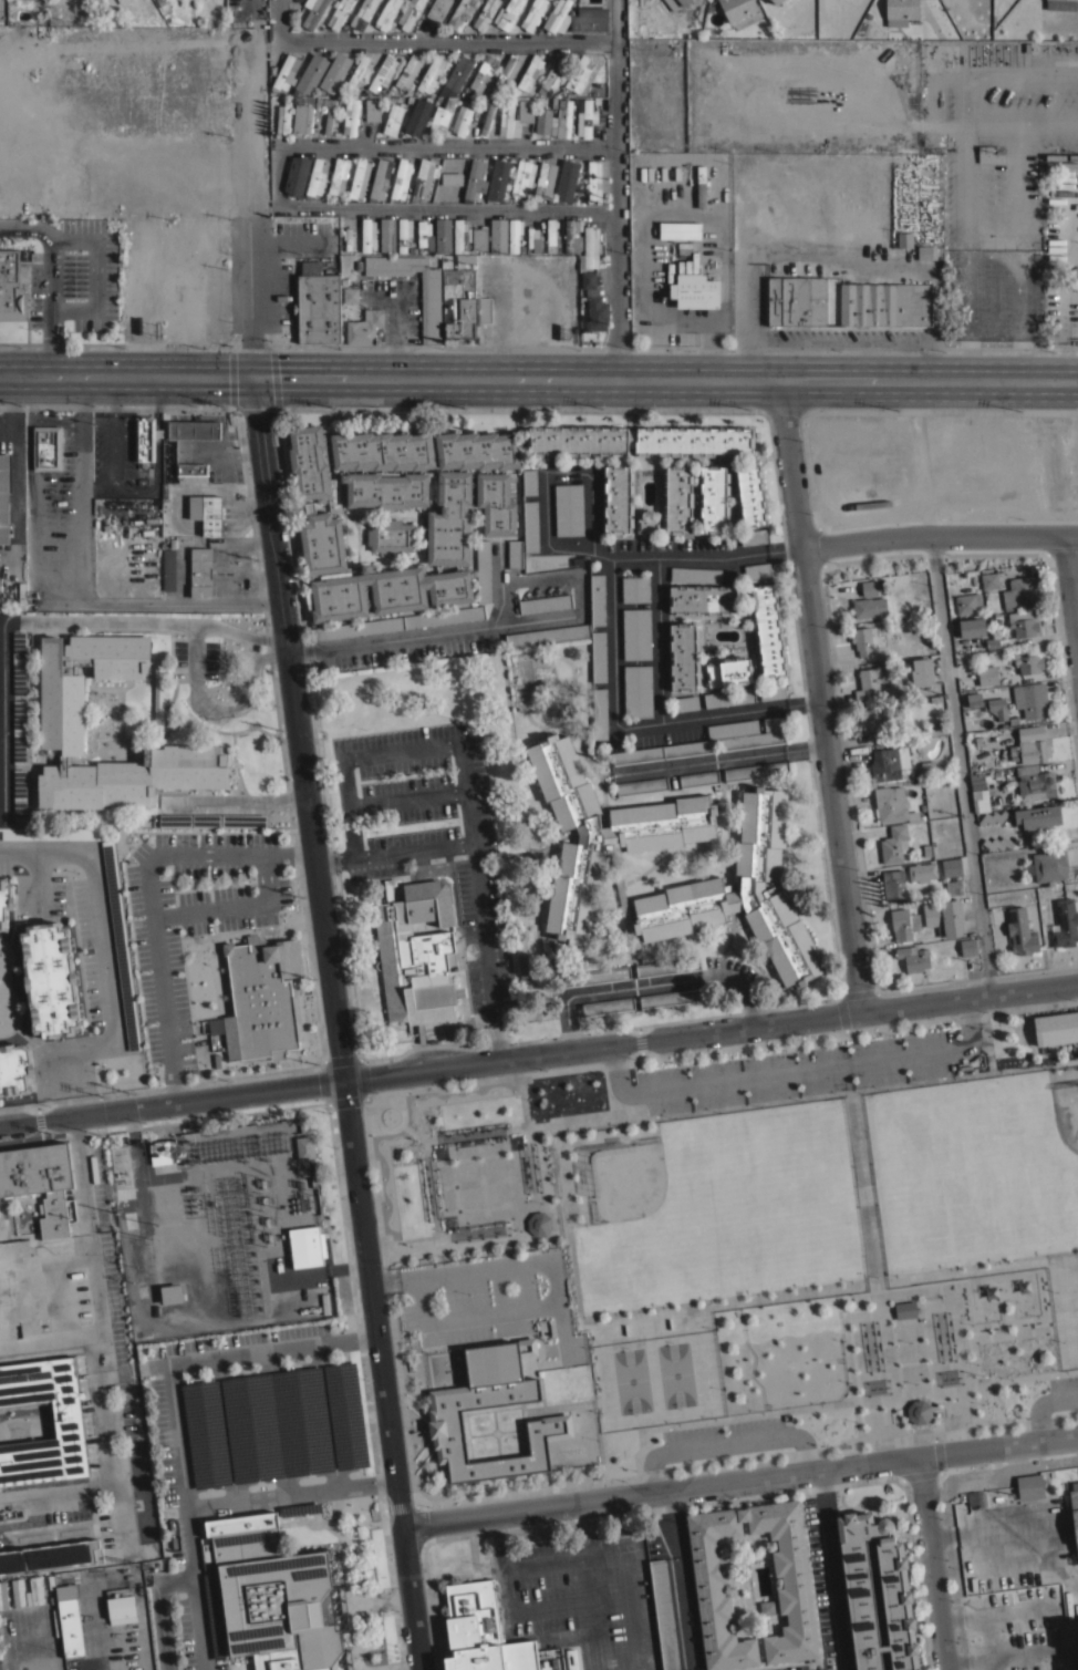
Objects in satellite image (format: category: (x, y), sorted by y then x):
building: (122, 1)
building: (776, 1)
building: (779, 1)
building: (158, 2)
building: (676, 3)
building: (1061, 4)
building: (189, 6)
building: (737, 8)
building: (437, 9)
building: (901, 9)
building: (313, 12)
building: (339, 12)
building: (189, 13)
building: (408, 13)
building: (458, 13)
building: (507, 13)
building: (362, 14)
building: (386, 14)
building: (485, 14)
building: (532, 14)
building: (576, 18)
building: (166, 19)
building: (179, 22)
building: (189, 22)
road: (428, 42)
building: (271, 70)
building: (407, 70)
building: (506, 70)
building: (334, 71)
building: (308, 72)
building: (357, 72)
building: (383, 72)
building: (483, 72)
building: (529, 72)
building: (284, 73)
building: (429, 73)
building: (457, 74)
building: (553, 74)
building: (580, 74)
building: (491, 87)
building: (338, 92)
building: (354, 92)
building: (387, 92)
building: (498, 92)
building: (382, 93)
building: (484, 93)
building: (383, 97)
building: (464, 100)
building: (595, 100)
building: (546, 103)
building: (372, 110)
building: (329, 114)
building: (302, 116)
building: (350, 116)
building: (416, 116)
building: (487, 116)
building: (283, 117)
building: (440, 117)
building: (525, 117)
building: (585, 117)
building: (392, 118)
building: (462, 118)
building: (562, 118)
building: (541, 121)
building: (988, 154)
building: (296, 173)
building: (338, 175)
building: (317, 176)
building: (522, 177)
road: (278, 178)
building: (357, 178)
building: (379, 178)
building: (400, 178)
building: (422, 178)
building: (450, 178)
building: (474, 179)
building: (497, 179)
building: (543, 179)
building: (564, 179)
building: (593, 179)
building: (701, 186)
road: (618, 188)
road: (248, 206)
building: (403, 233)
building: (423, 234)
building: (514, 234)
building: (367, 235)
building: (386, 235)
building: (443, 235)
building: (550, 235)
building: (459, 236)
building: (497, 236)
building: (531, 236)
building: (570, 236)
building: (478, 239)
building: (904, 239)
building: (589, 249)
building: (412, 250)
building: (528, 251)
building: (926, 251)
road: (994, 255)
parking lot: (74, 278)
building: (11, 286)
building: (694, 290)
building: (350, 295)
building: (459, 298)
building: (796, 300)
building: (582, 302)
building: (593, 302)
building: (318, 303)
building: (884, 305)
building: (431, 309)
building: (485, 309)
building: (364, 327)
road: (115, 343)
road: (270, 343)
road: (674, 347)
road: (125, 375)
traffic signals: (252, 375)
road: (515, 375)
road: (929, 377)
road: (518, 405)
road: (785, 408)
road: (942, 409)
building: (193, 430)
building: (143, 440)
building: (639, 440)
building: (46, 447)
building: (189, 471)
building: (529, 481)
road: (102, 486)
road: (136, 489)
building: (4, 495)
building: (749, 495)
building: (616, 498)
building: (676, 498)
building: (713, 498)
road: (248, 506)
building: (568, 508)
building: (210, 514)
building: (645, 524)
building: (530, 526)
building: (320, 529)
road: (594, 532)
road: (939, 535)
building: (391, 536)
building: (752, 536)
building: (514, 553)
building: (168, 569)
building: (483, 570)
building: (756, 570)
building: (200, 571)
building: (694, 574)
building: (988, 579)
road: (55, 585)
road: (1071, 586)
building: (868, 587)
building: (634, 589)
building: (1018, 592)
building: (21, 595)
building: (597, 599)
building: (702, 599)
building: (541, 602)
building: (967, 602)
building: (868, 607)
building: (397, 622)
building: (1024, 622)
road: (4, 623)
building: (971, 627)
building: (767, 630)
building: (636, 633)
road: (431, 635)
building: (547, 635)
building: (862, 640)
building: (598, 656)
building: (683, 656)
building: (19, 662)
building: (1027, 663)
road: (193, 667)
building: (728, 671)
building: (921, 671)
building: (987, 674)
building: (870, 680)
building: (638, 690)
building: (771, 691)
road: (818, 694)
building: (728, 697)
building: (973, 699)
building: (1029, 699)
building: (684, 703)
building: (997, 708)
building: (62, 711)
building: (599, 712)
building: (874, 721)
road: (297, 728)
building: (19, 731)
road: (633, 731)
building: (932, 731)
building: (749, 732)
building: (1029, 745)
road: (402, 750)
building: (662, 752)
road: (721, 761)
building: (888, 763)
road: (961, 764)
building: (927, 769)
building: (756, 771)
building: (698, 779)
building: (976, 780)
building: (1035, 783)
building: (641, 785)
building: (19, 794)
road: (405, 796)
building: (891, 804)
building: (1037, 816)
building: (992, 817)
building: (211, 819)
building: (50, 833)
building: (602, 837)
building: (997, 843)
building: (893, 844)
road: (325, 858)
road: (475, 862)
building: (1049, 865)
building: (951, 866)
building: (921, 872)
building: (893, 884)
building: (953, 887)
building: (742, 894)
road: (148, 898)
building: (6, 901)
road: (231, 904)
building: (944, 917)
building: (903, 922)
building: (1064, 924)
building: (1019, 931)
building: (121, 945)
building: (967, 947)
road: (103, 950)
building: (913, 957)
building: (666, 966)
building: (414, 968)
building: (524, 970)
building: (590, 977)
building: (50, 980)
road: (612, 988)
road: (744, 990)
road: (967, 996)
building: (261, 998)
building: (671, 998)
building: (608, 1007)
building: (1056, 1028)
road: (498, 1041)
road: (601, 1047)
building: (14, 1069)
road: (796, 1070)
parking lot: (792, 1071)
road: (172, 1104)
road: (70, 1105)
park: (1065, 1116)
building: (304, 1147)
building: (159, 1152)
building: (122, 1173)
building: (40, 1181)
park: (625, 1182)
road: (864, 1193)
building: (0, 1212)
building: (129, 1219)
power substation: (228, 1221)
building: (538, 1224)
park: (776, 1226)
building: (307, 1246)
road: (510, 1266)
building: (20, 1289)
building: (170, 1293)
road: (903, 1293)
road: (729, 1301)
building: (904, 1310)
road: (1030, 1312)
road: (470, 1313)
road: (1007, 1315)
road: (1020, 1326)
road: (99, 1327)
road: (50, 1340)
road: (200, 1352)
road: (599, 1372)
road: (381, 1374)
park: (676, 1374)
road: (1028, 1375)
park: (630, 1380)
parking lot: (1063, 1388)
road: (915, 1391)
road: (1039, 1400)
building: (444, 1411)
building: (919, 1411)
road: (714, 1419)
building: (276, 1425)
building: (68, 1427)
parking lot: (721, 1431)
road: (725, 1437)
parking lot: (247, 1446)
road: (738, 1478)
building: (1029, 1486)
building: (976, 1498)
road: (208, 1503)
building: (1074, 1511)
road: (496, 1534)
road: (547, 1555)
building: (50, 1556)
road: (933, 1561)
road: (629, 1566)
road: (827, 1569)
building: (796, 1585)
building: (858, 1590)
building: (273, 1596)
road: (504, 1596)
building: (53, 1599)
building: (121, 1602)
building: (760, 1607)
road: (158, 1608)
building: (663, 1614)
building: (69, 1618)
road: (983, 1620)
building: (56, 1622)
building: (484, 1632)
building: (1070, 1633)
road: (1019, 1652)
building: (570, 1659)
building: (1074, 1663)
building: (40, 1664)

